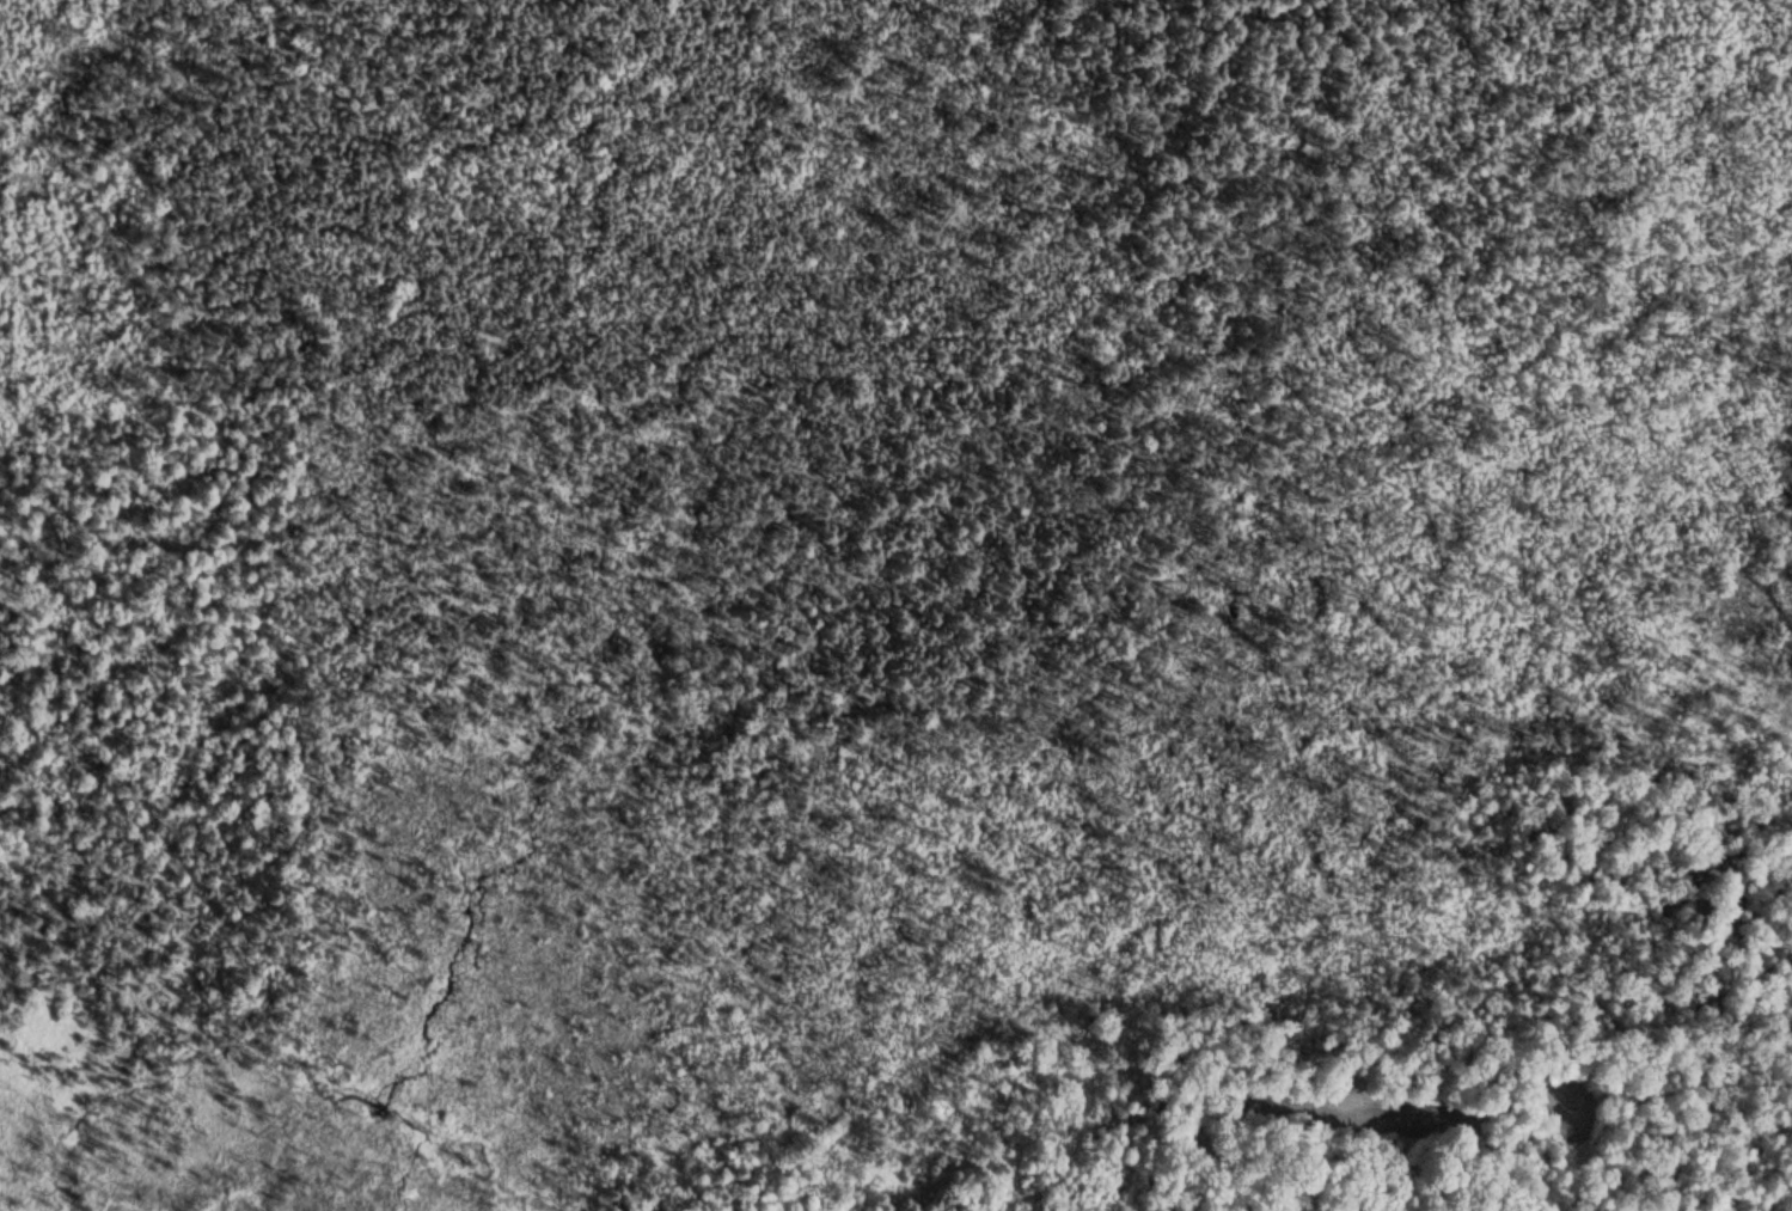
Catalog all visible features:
road: (1148, 1186)

